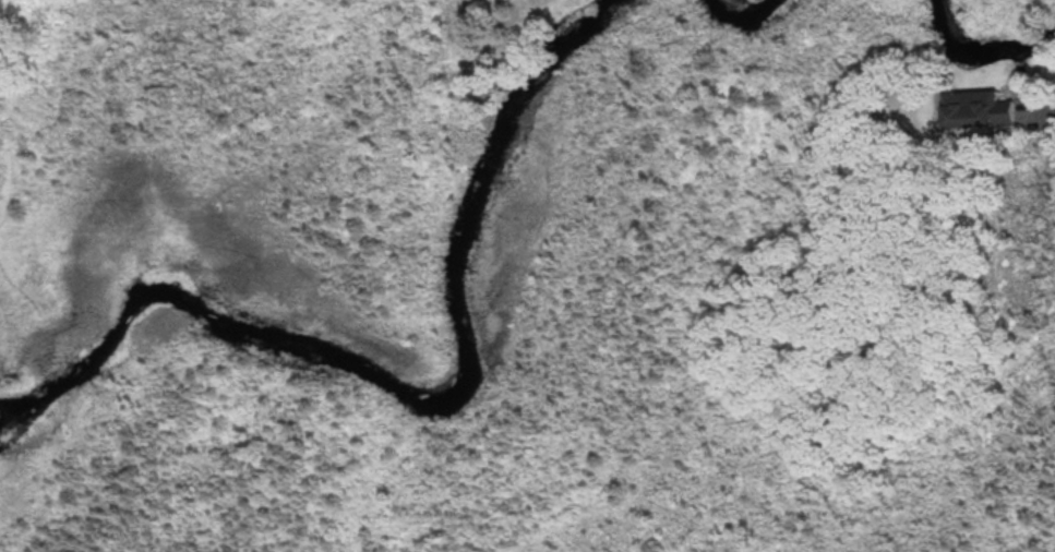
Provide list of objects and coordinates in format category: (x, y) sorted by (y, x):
river: (743, 11)
river: (980, 50)
road: (8, 97)
building: (975, 108)
road: (1041, 117)
road: (12, 178)
road: (26, 299)
park: (575, 349)
river: (420, 396)

